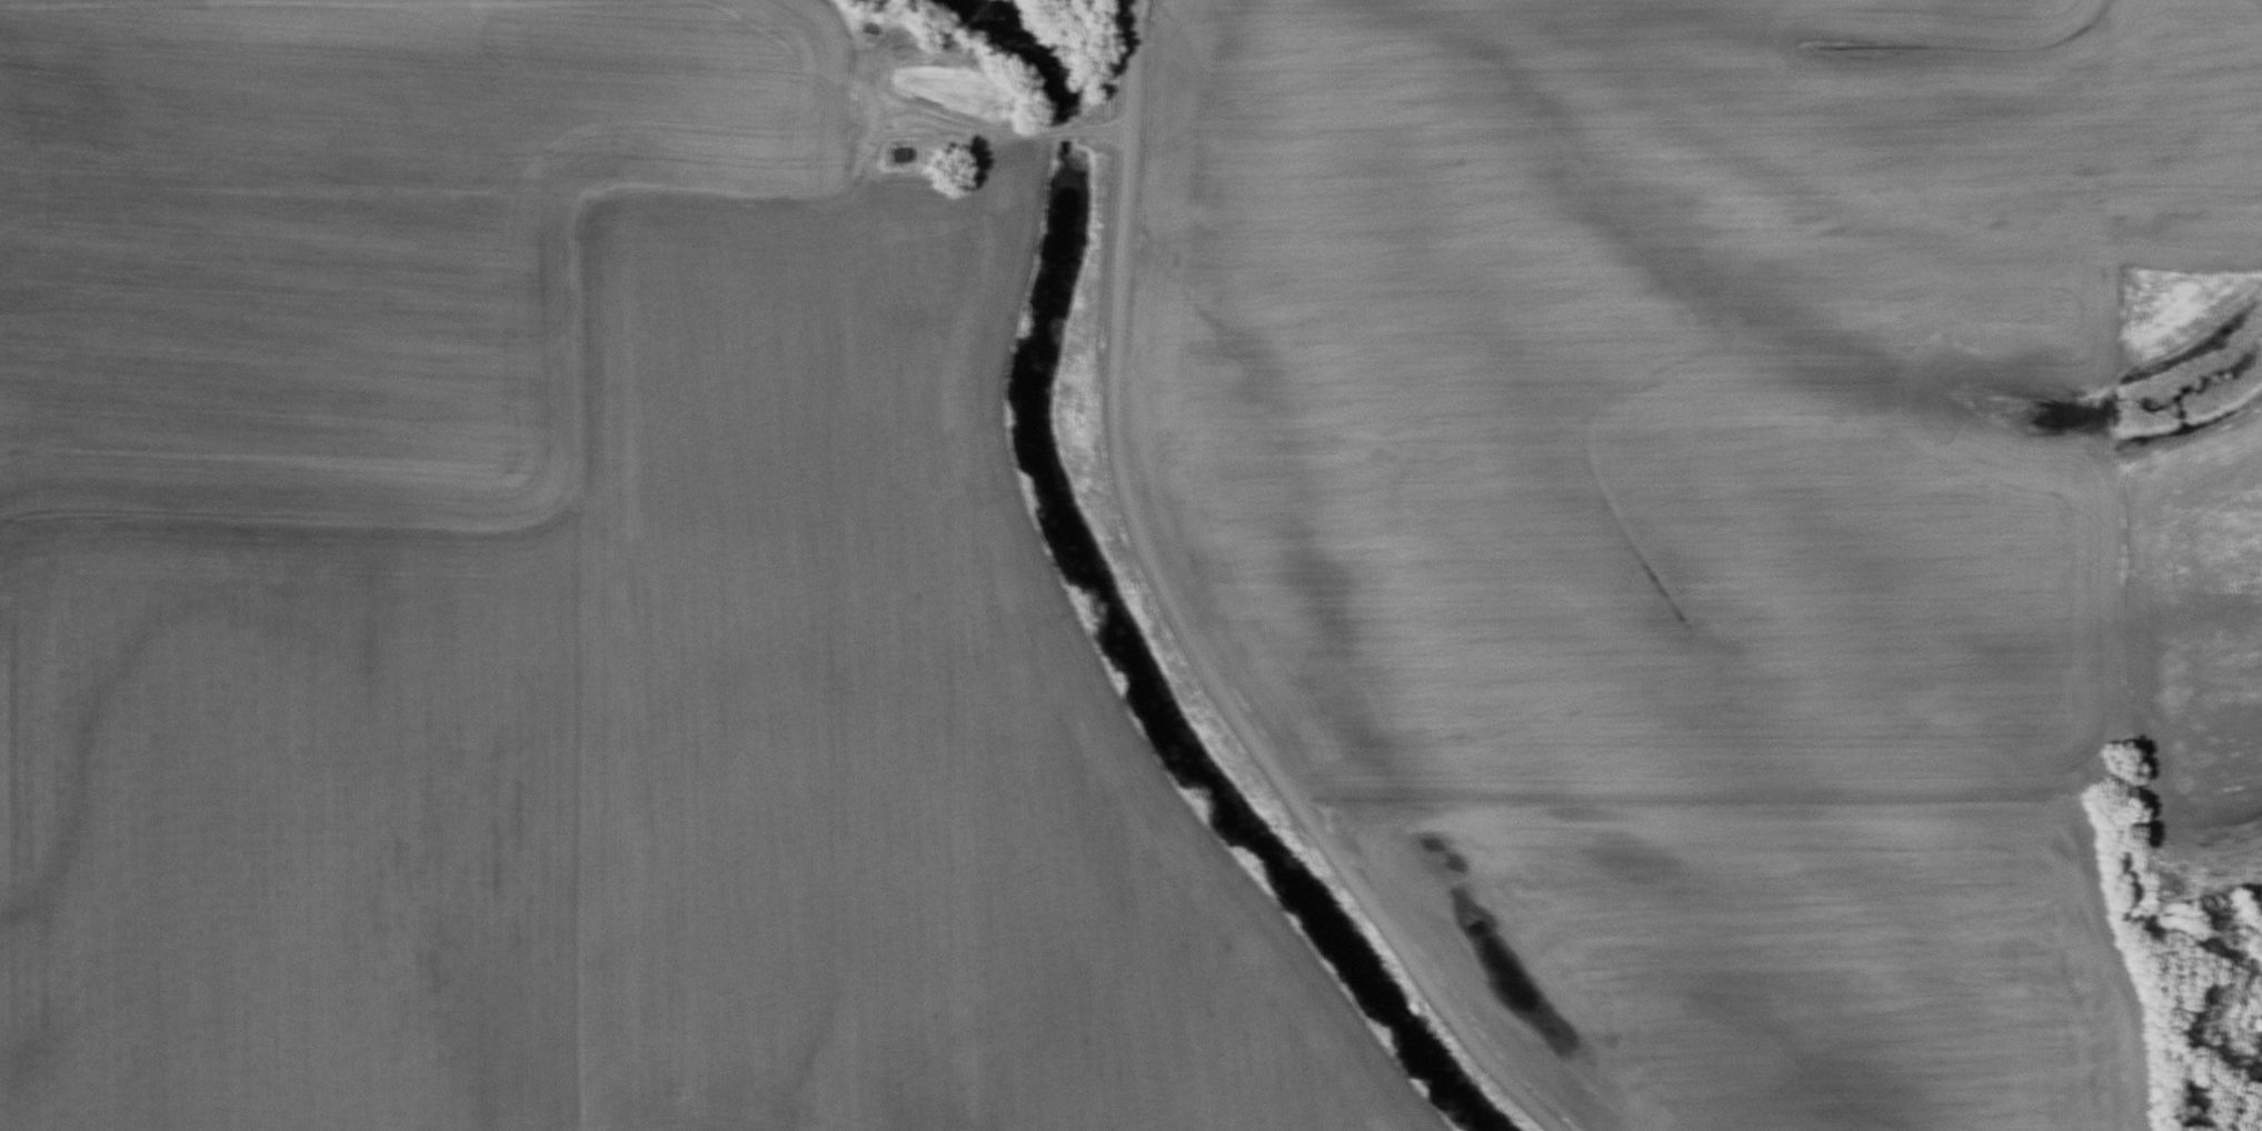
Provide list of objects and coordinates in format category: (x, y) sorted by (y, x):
road: (1184, 623)

